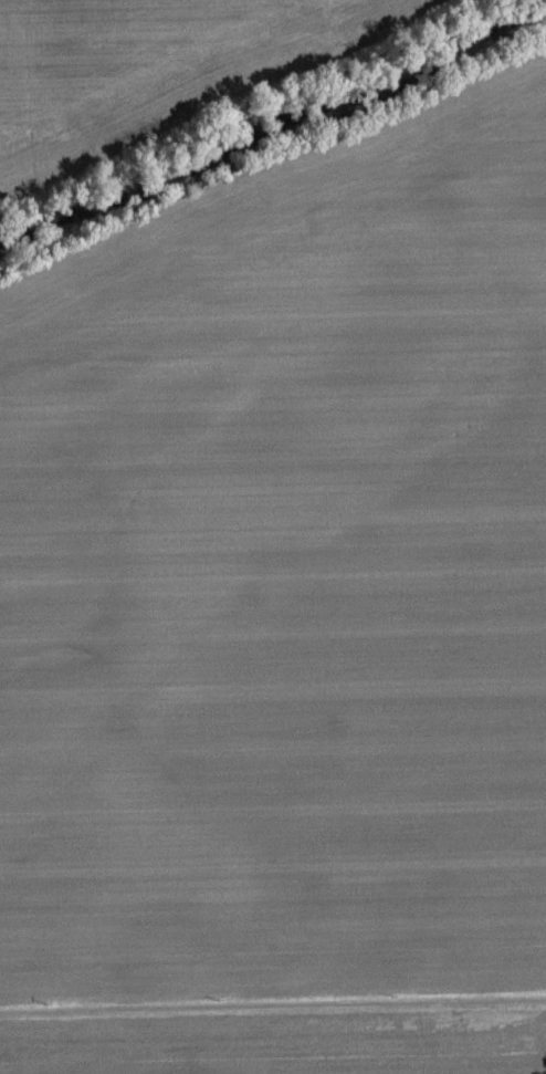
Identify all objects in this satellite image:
road: (272, 1003)

